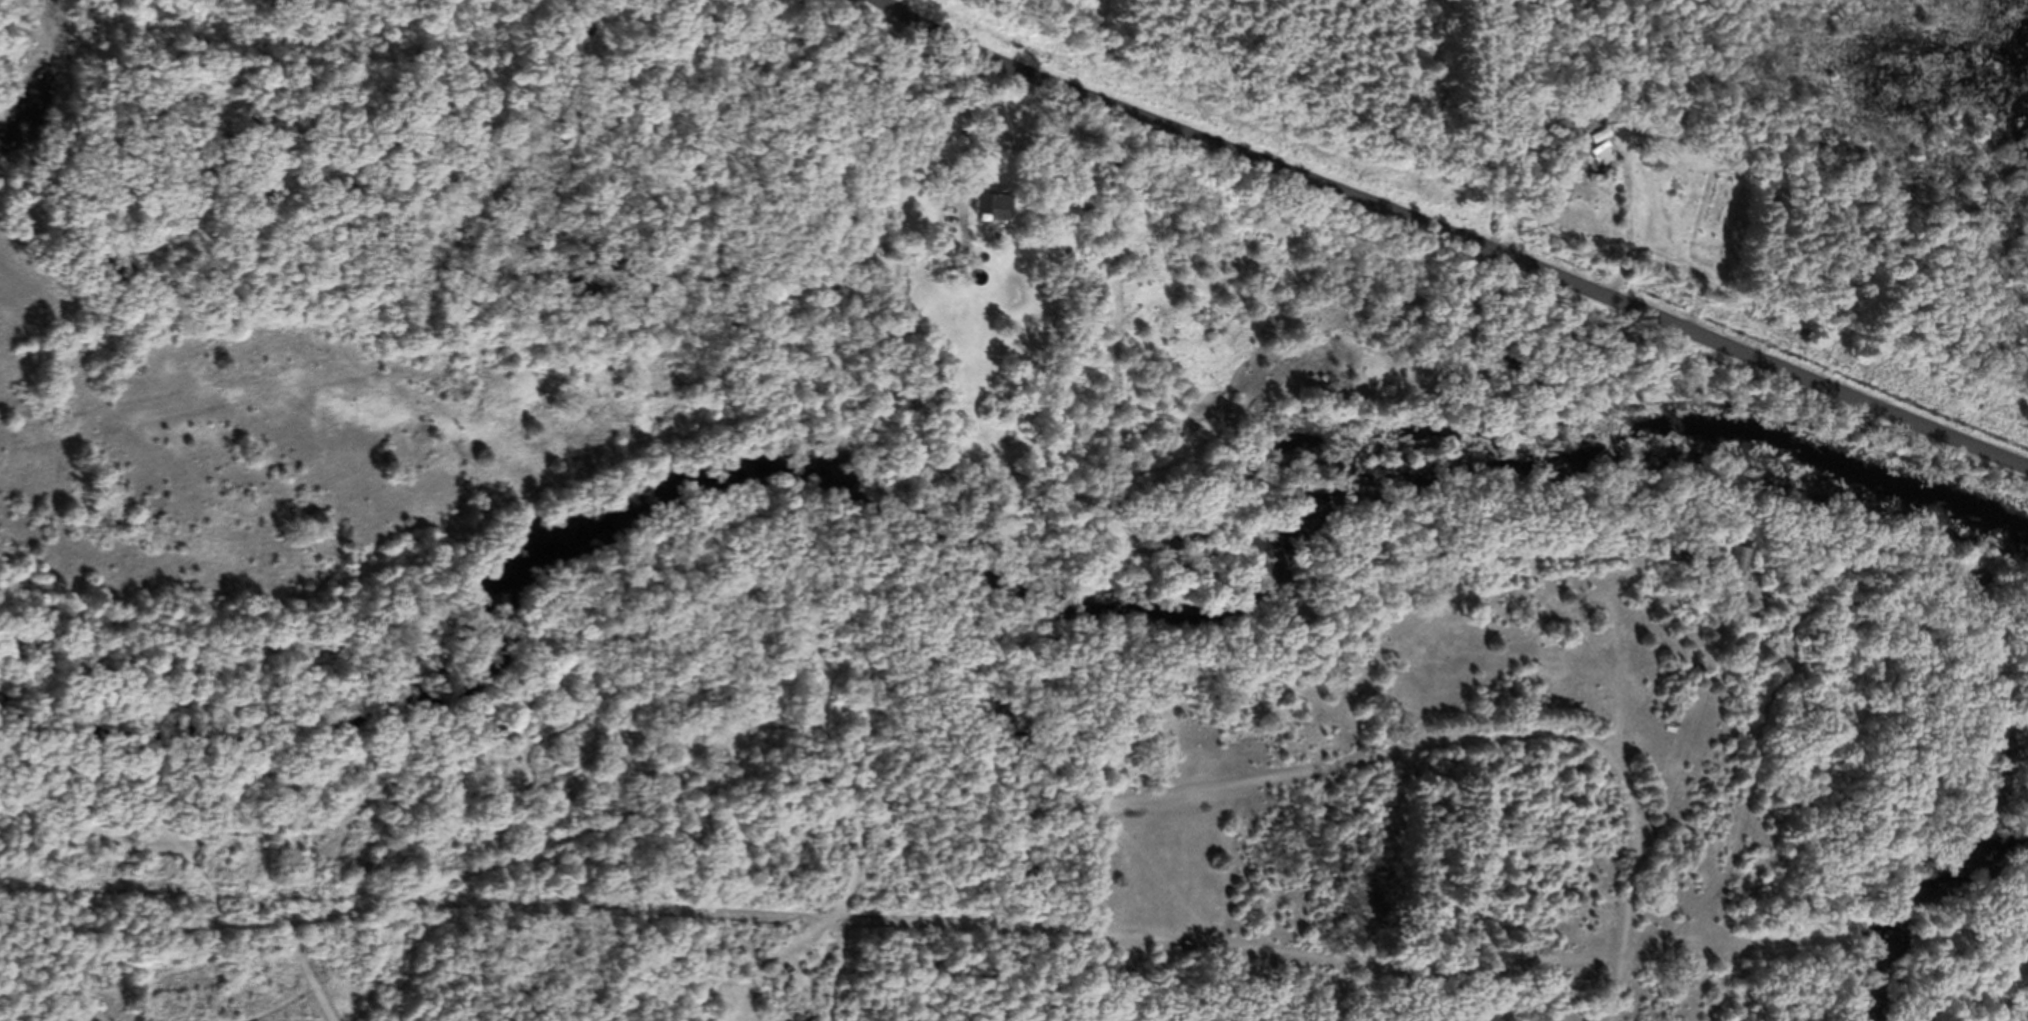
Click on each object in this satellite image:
building: (997, 209)
road: (1453, 235)
building: (1738, 563)
road: (1489, 742)

